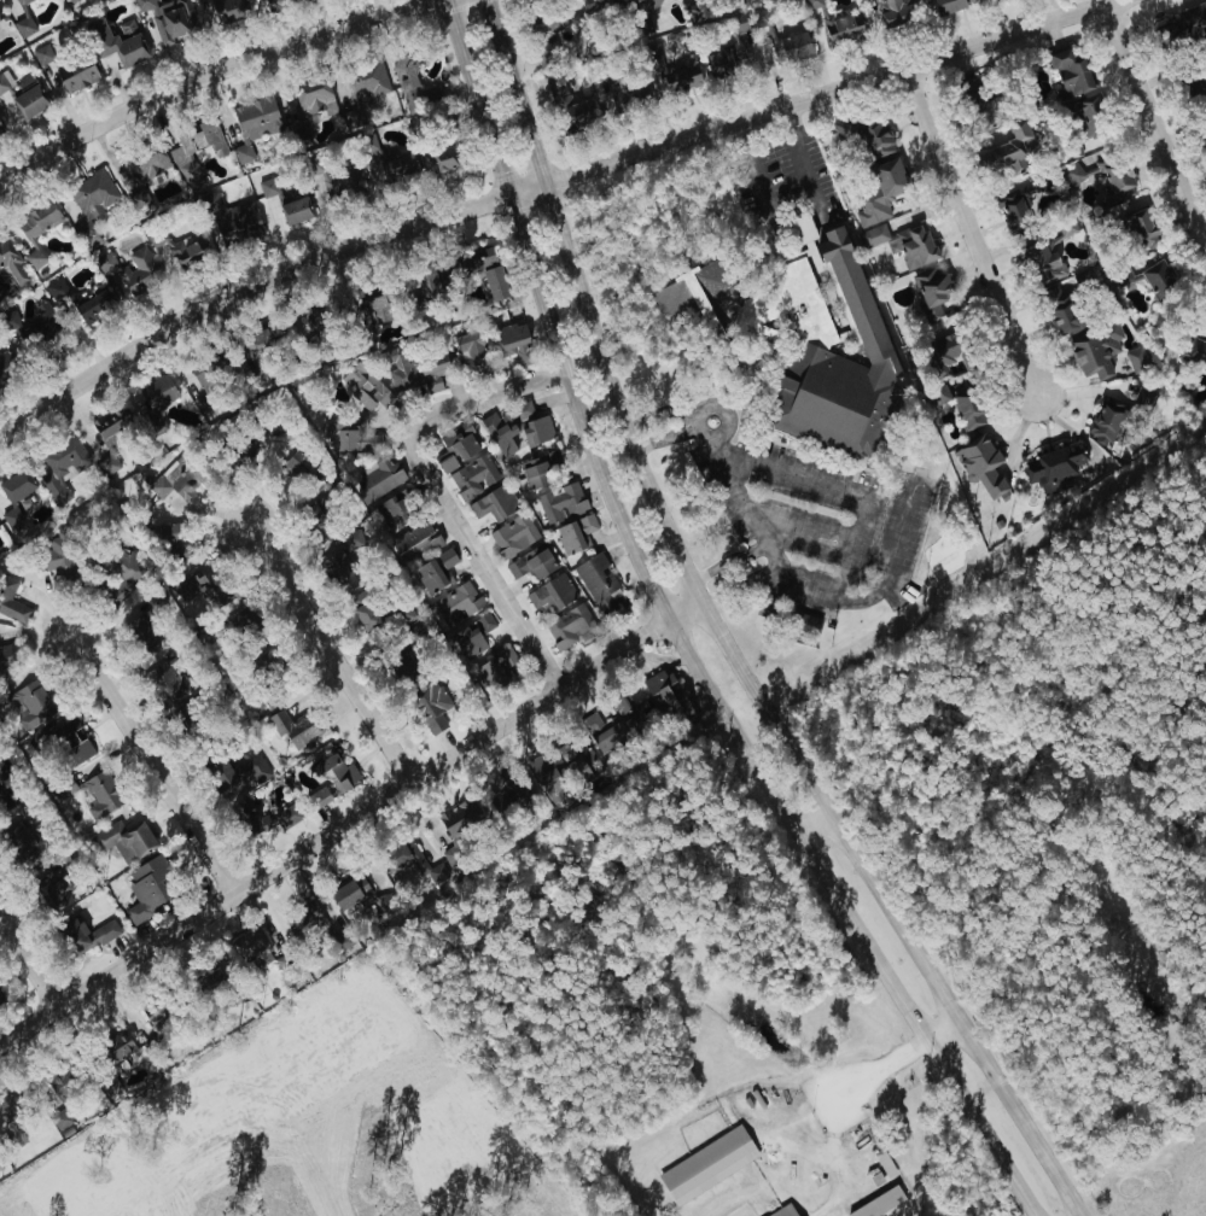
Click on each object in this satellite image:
building: (196, 0)
building: (264, 0)
building: (18, 1)
building: (71, 1)
building: (750, 1)
building: (637, 2)
building: (596, 4)
building: (946, 6)
building: (225, 8)
building: (896, 12)
building: (1190, 17)
building: (164, 19)
building: (550, 22)
building: (835, 23)
building: (738, 24)
building: (23, 27)
building: (116, 41)
building: (781, 45)
building: (41, 54)
building: (744, 54)
building: (546, 57)
building: (717, 63)
building: (76, 74)
road: (202, 74)
building: (675, 74)
building: (1070, 75)
building: (410, 81)
building: (621, 89)
building: (23, 94)
building: (313, 100)
building: (1084, 117)
building: (353, 118)
road: (1160, 119)
building: (254, 123)
building: (0, 133)
building: (866, 135)
building: (1008, 151)
building: (442, 159)
road: (802, 163)
road: (753, 174)
building: (1072, 174)
building: (1118, 180)
building: (338, 181)
road: (547, 181)
building: (879, 192)
building: (92, 194)
building: (1014, 205)
building: (287, 206)
building: (36, 220)
building: (235, 221)
building: (1137, 228)
road: (981, 239)
building: (903, 242)
building: (1047, 250)
building: (177, 251)
building: (35, 258)
building: (11, 261)
building: (129, 269)
building: (488, 270)
building: (1158, 279)
building: (1083, 280)
building: (54, 290)
building: (931, 291)
building: (0, 292)
building: (1056, 304)
building: (93, 306)
building: (372, 309)
building: (39, 328)
building: (513, 341)
building: (805, 341)
building: (944, 350)
building: (472, 351)
building: (1095, 351)
building: (1193, 353)
building: (1136, 359)
building: (5, 364)
building: (208, 368)
building: (415, 372)
building: (365, 388)
building: (152, 396)
building: (962, 405)
building: (524, 410)
building: (1105, 421)
building: (537, 429)
building: (497, 434)
building: (353, 438)
building: (104, 440)
building: (264, 440)
building: (455, 446)
building: (980, 466)
building: (62, 467)
building: (1053, 468)
building: (535, 473)
building: (378, 478)
building: (471, 478)
building: (177, 480)
building: (13, 487)
road: (432, 489)
building: (400, 502)
building: (494, 503)
building: (559, 503)
building: (11, 518)
road: (858, 520)
building: (575, 533)
building: (513, 536)
building: (424, 557)
building: (58, 560)
building: (531, 563)
road: (736, 572)
building: (127, 577)
building: (598, 580)
building: (550, 592)
building: (11, 601)
building: (456, 603)
building: (363, 615)
building: (140, 635)
road: (724, 636)
building: (472, 637)
road: (678, 637)
road: (330, 651)
building: (499, 670)
building: (165, 684)
building: (664, 694)
building: (28, 702)
building: (430, 706)
building: (628, 714)
building: (295, 729)
building: (606, 733)
building: (64, 743)
building: (566, 752)
road: (155, 765)
building: (584, 766)
building: (336, 774)
building: (547, 774)
building: (243, 777)
building: (97, 795)
building: (317, 799)
building: (505, 802)
building: (284, 818)
road: (350, 818)
building: (459, 818)
building: (255, 820)
road: (809, 822)
building: (124, 840)
building: (22, 844)
building: (400, 858)
building: (148, 887)
building: (56, 891)
building: (349, 893)
building: (381, 904)
building: (303, 916)
building: (85, 934)
building: (251, 948)
road: (29, 959)
road: (942, 1030)
building: (117, 1045)
road: (879, 1070)
building: (109, 1087)
building: (58, 1113)
building: (706, 1165)
crop: (1165, 1180)
building: (879, 1203)
building: (783, 1211)

